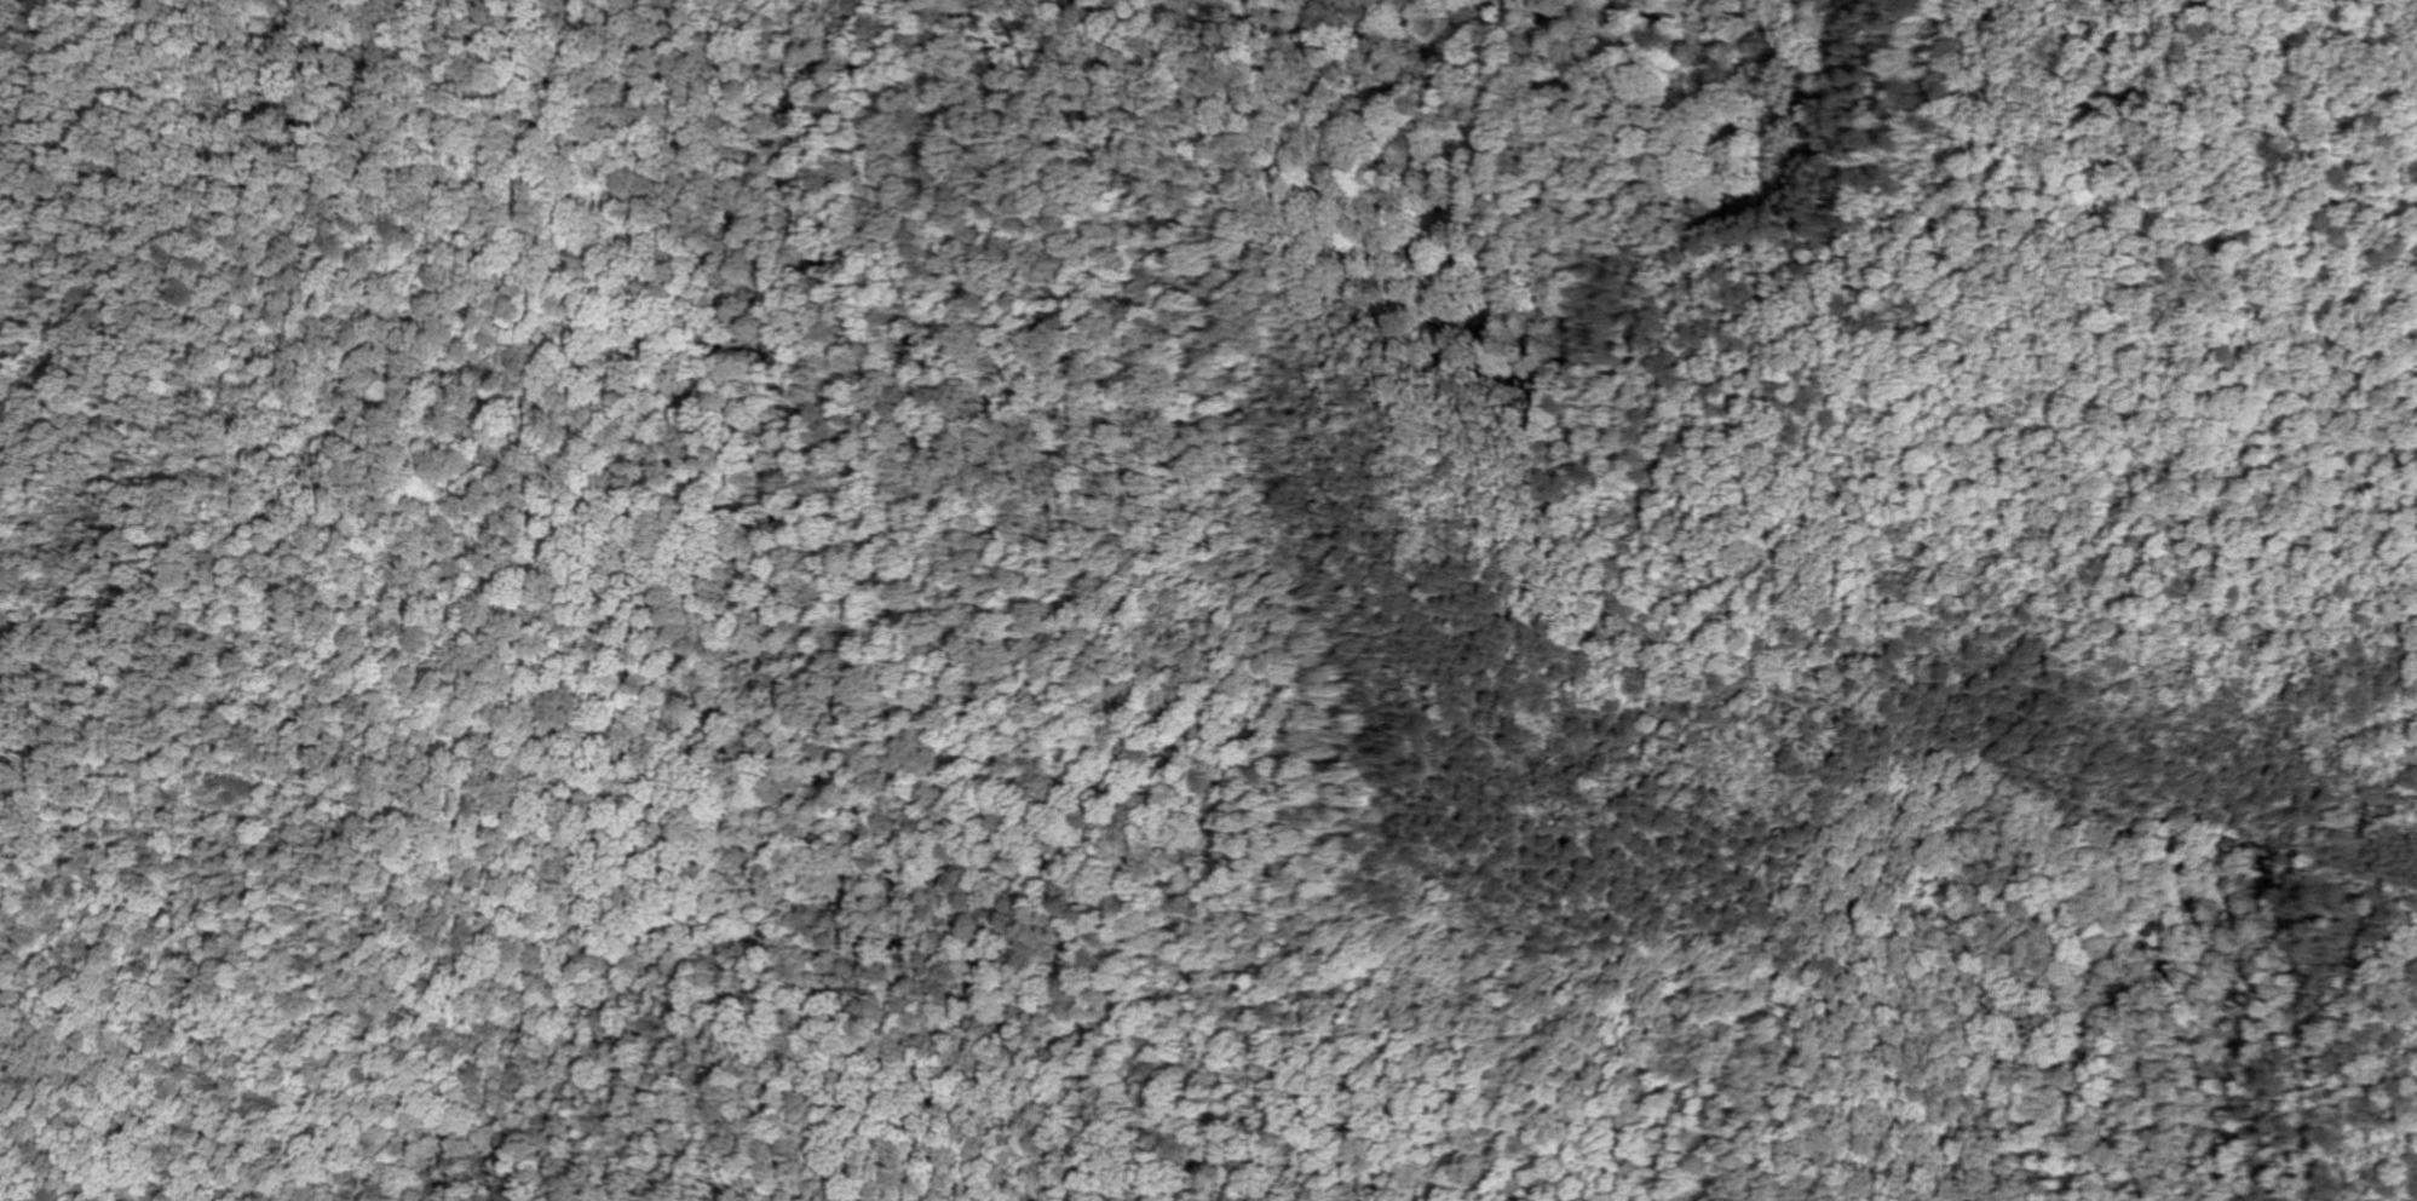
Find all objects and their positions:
park: (1101, 621)
river: (783, 709)

